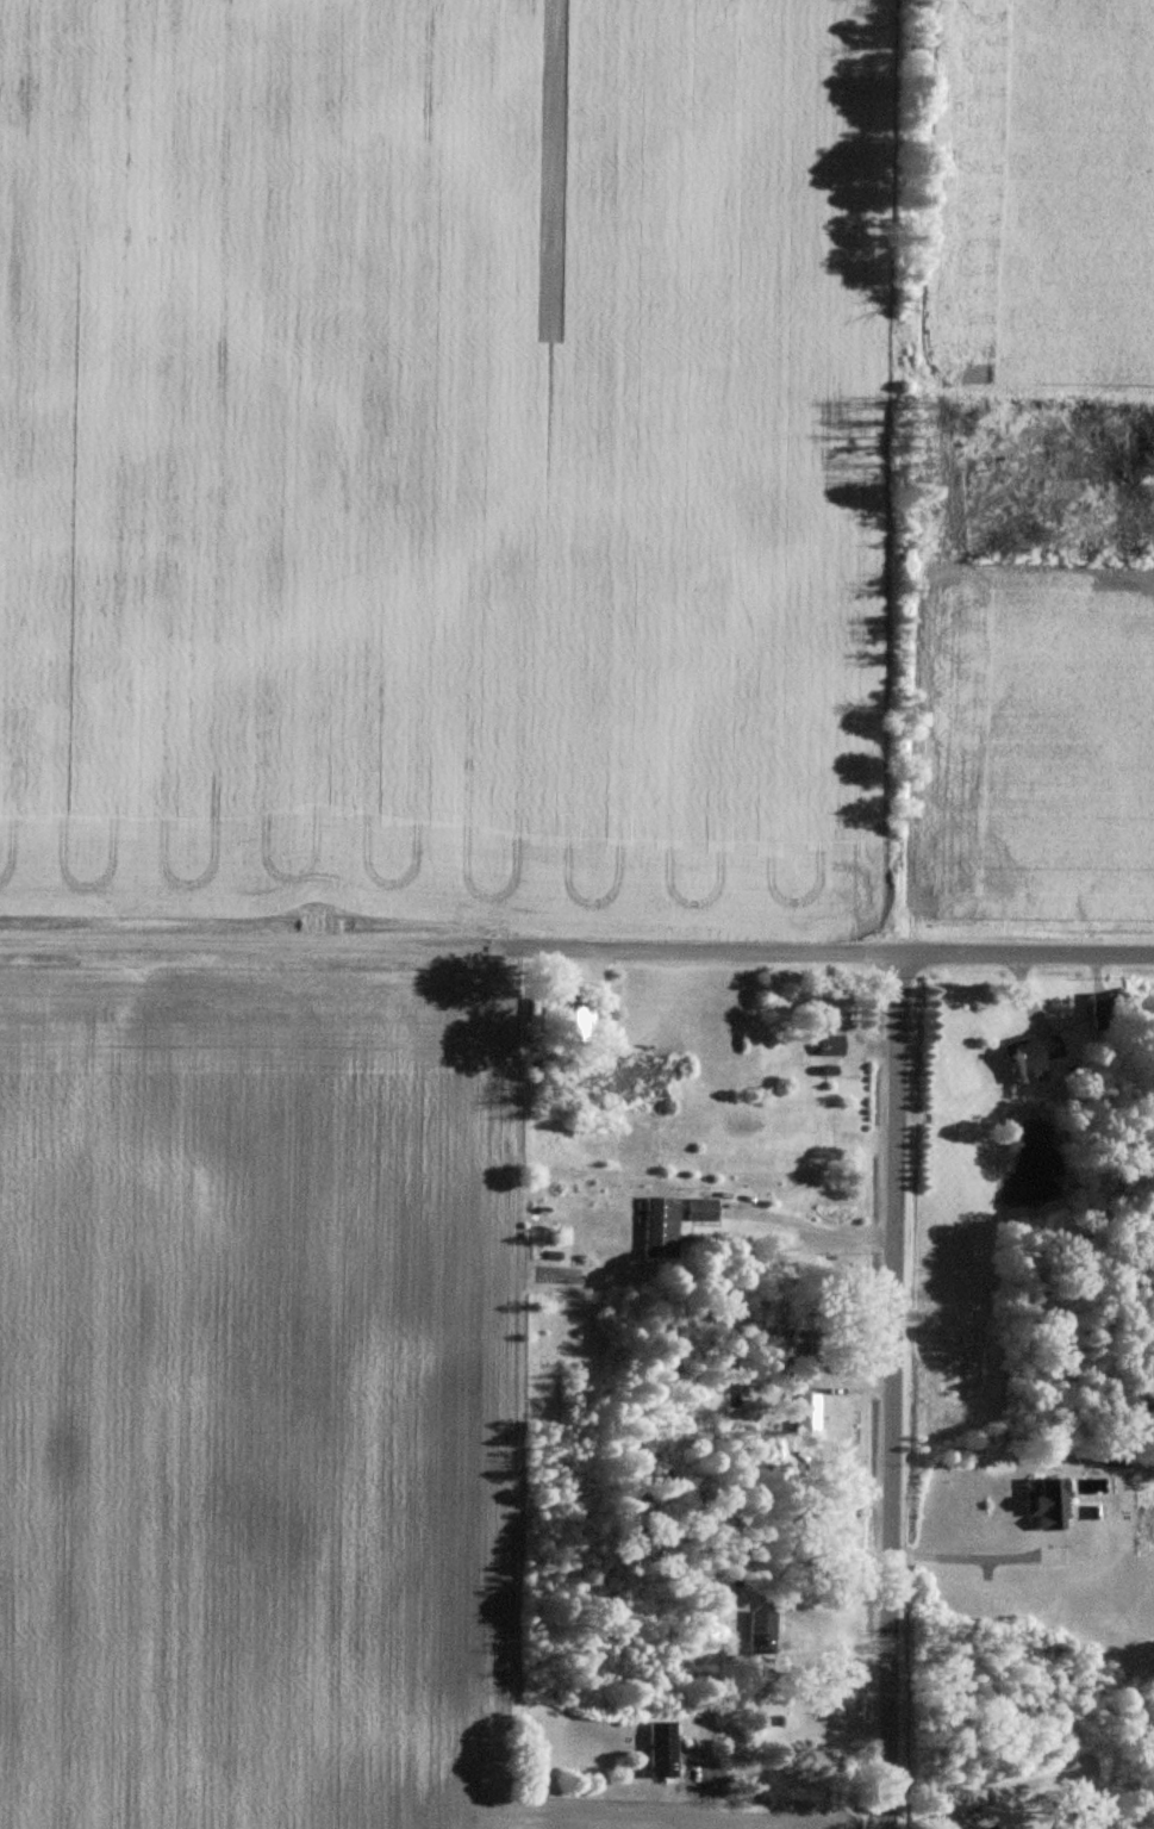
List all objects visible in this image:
road: (576, 948)
building: (836, 1018)
building: (830, 1046)
building: (1030, 1056)
building: (701, 1212)
building: (661, 1228)
road: (813, 1228)
road: (898, 1391)
building: (805, 1414)
building: (1046, 1505)
building: (834, 1534)
road: (971, 1559)
building: (762, 1631)
building: (781, 1709)
building: (661, 1750)
road: (715, 1777)
building: (1079, 1822)
building: (991, 1828)

